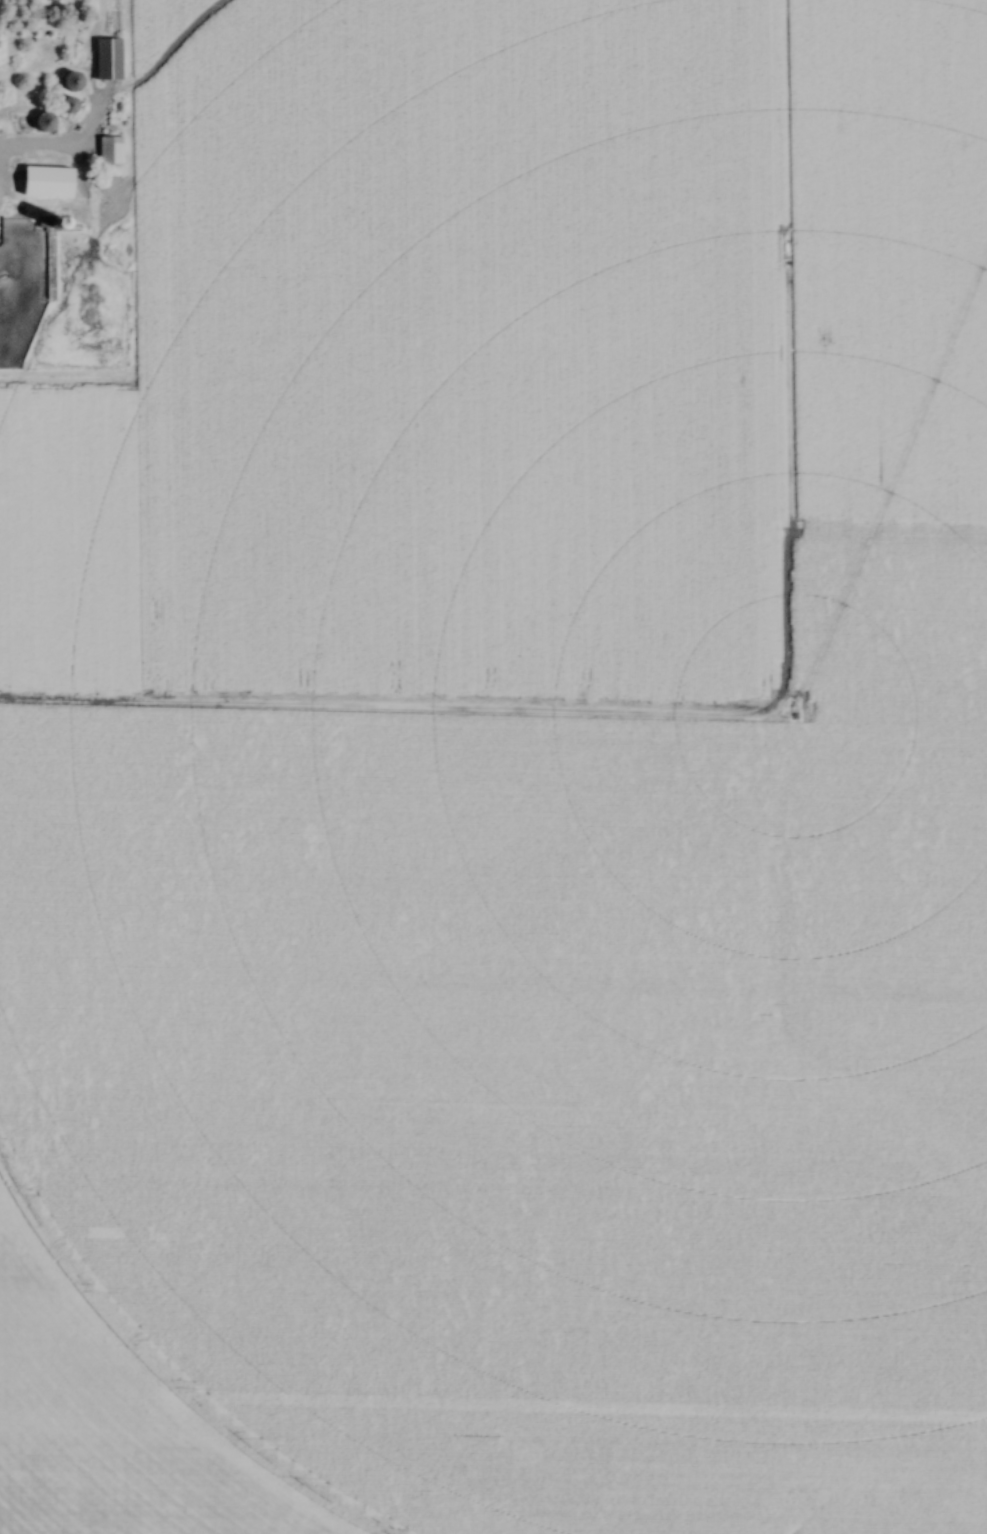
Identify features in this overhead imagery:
building: (106, 60)
building: (72, 87)
building: (67, 110)
building: (43, 127)
building: (108, 151)

